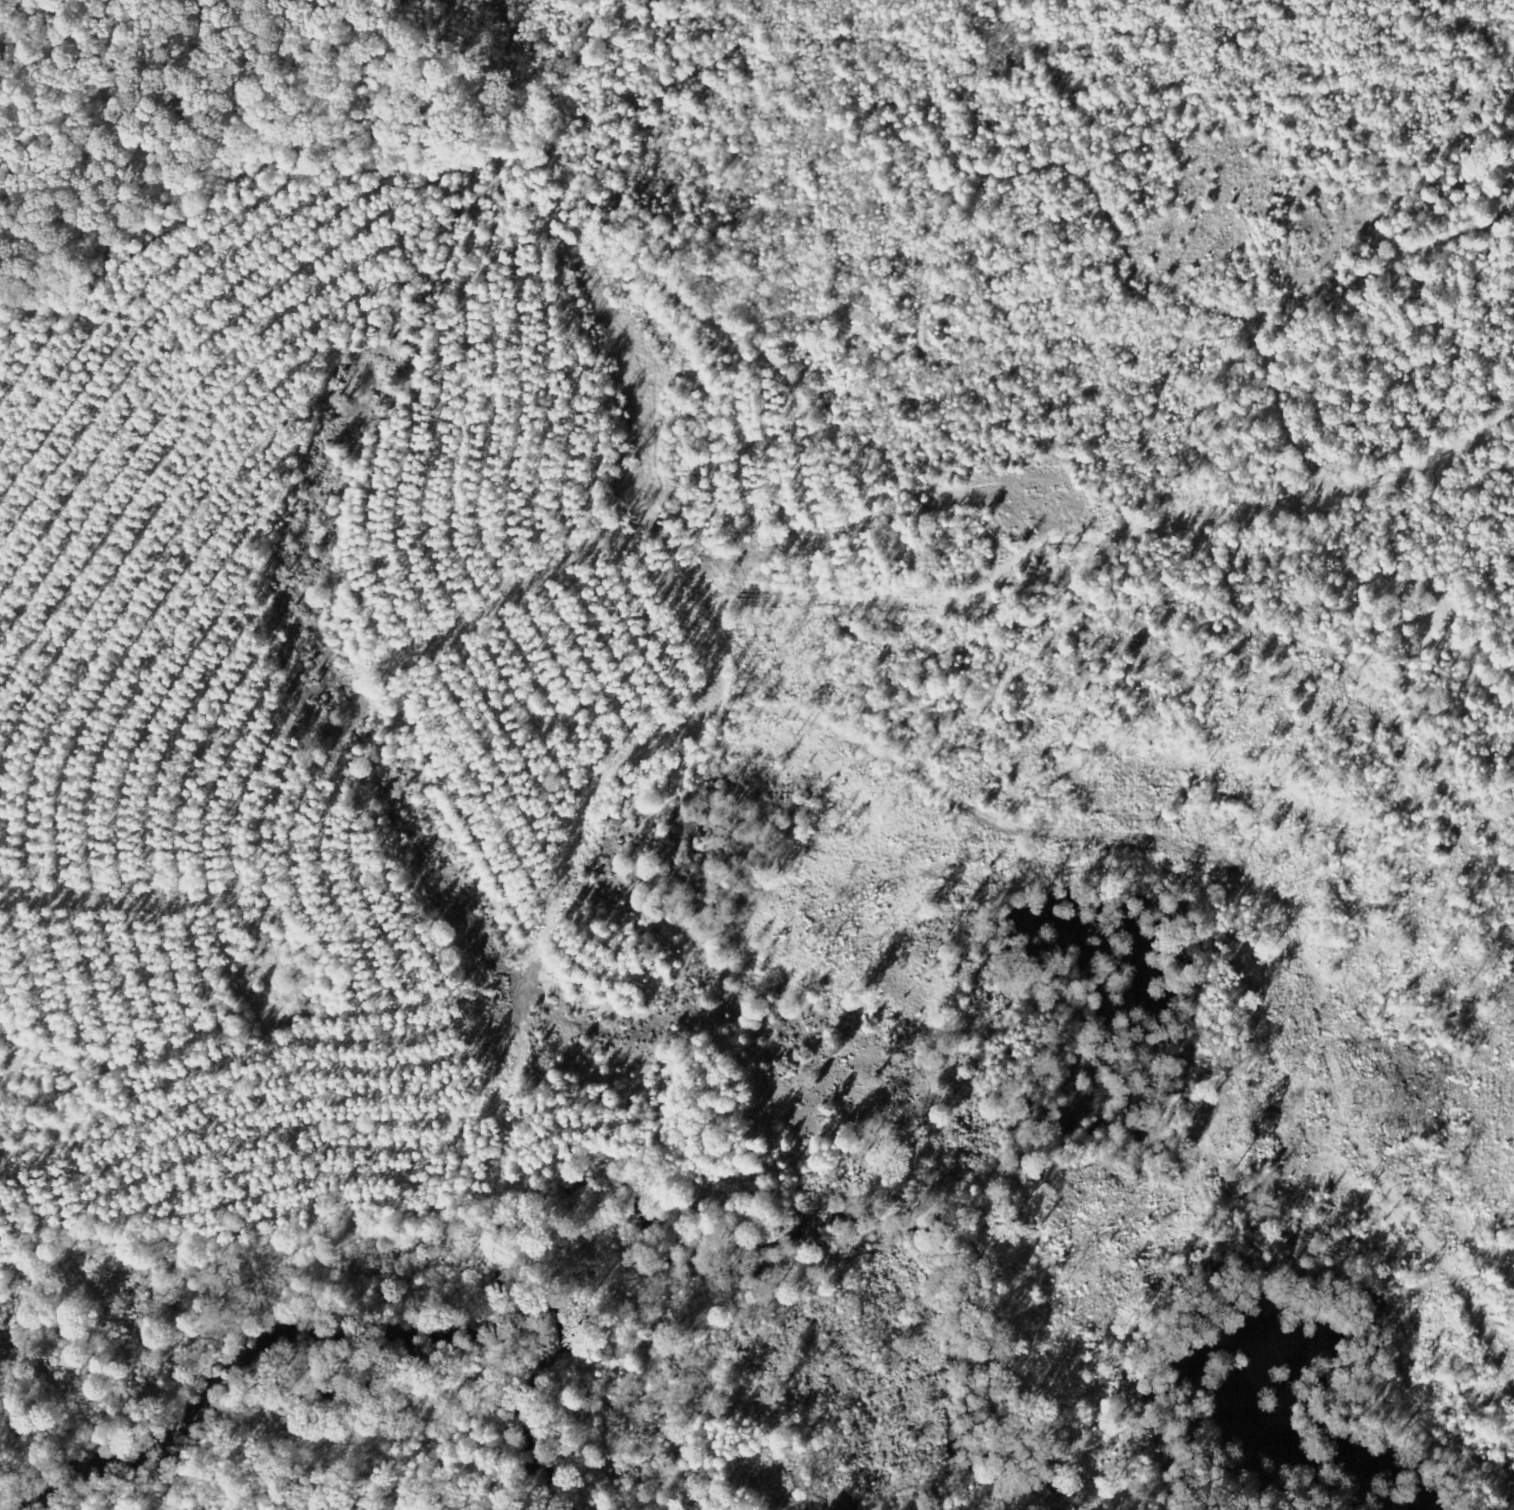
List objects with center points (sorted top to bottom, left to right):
river: (374, 1332)

